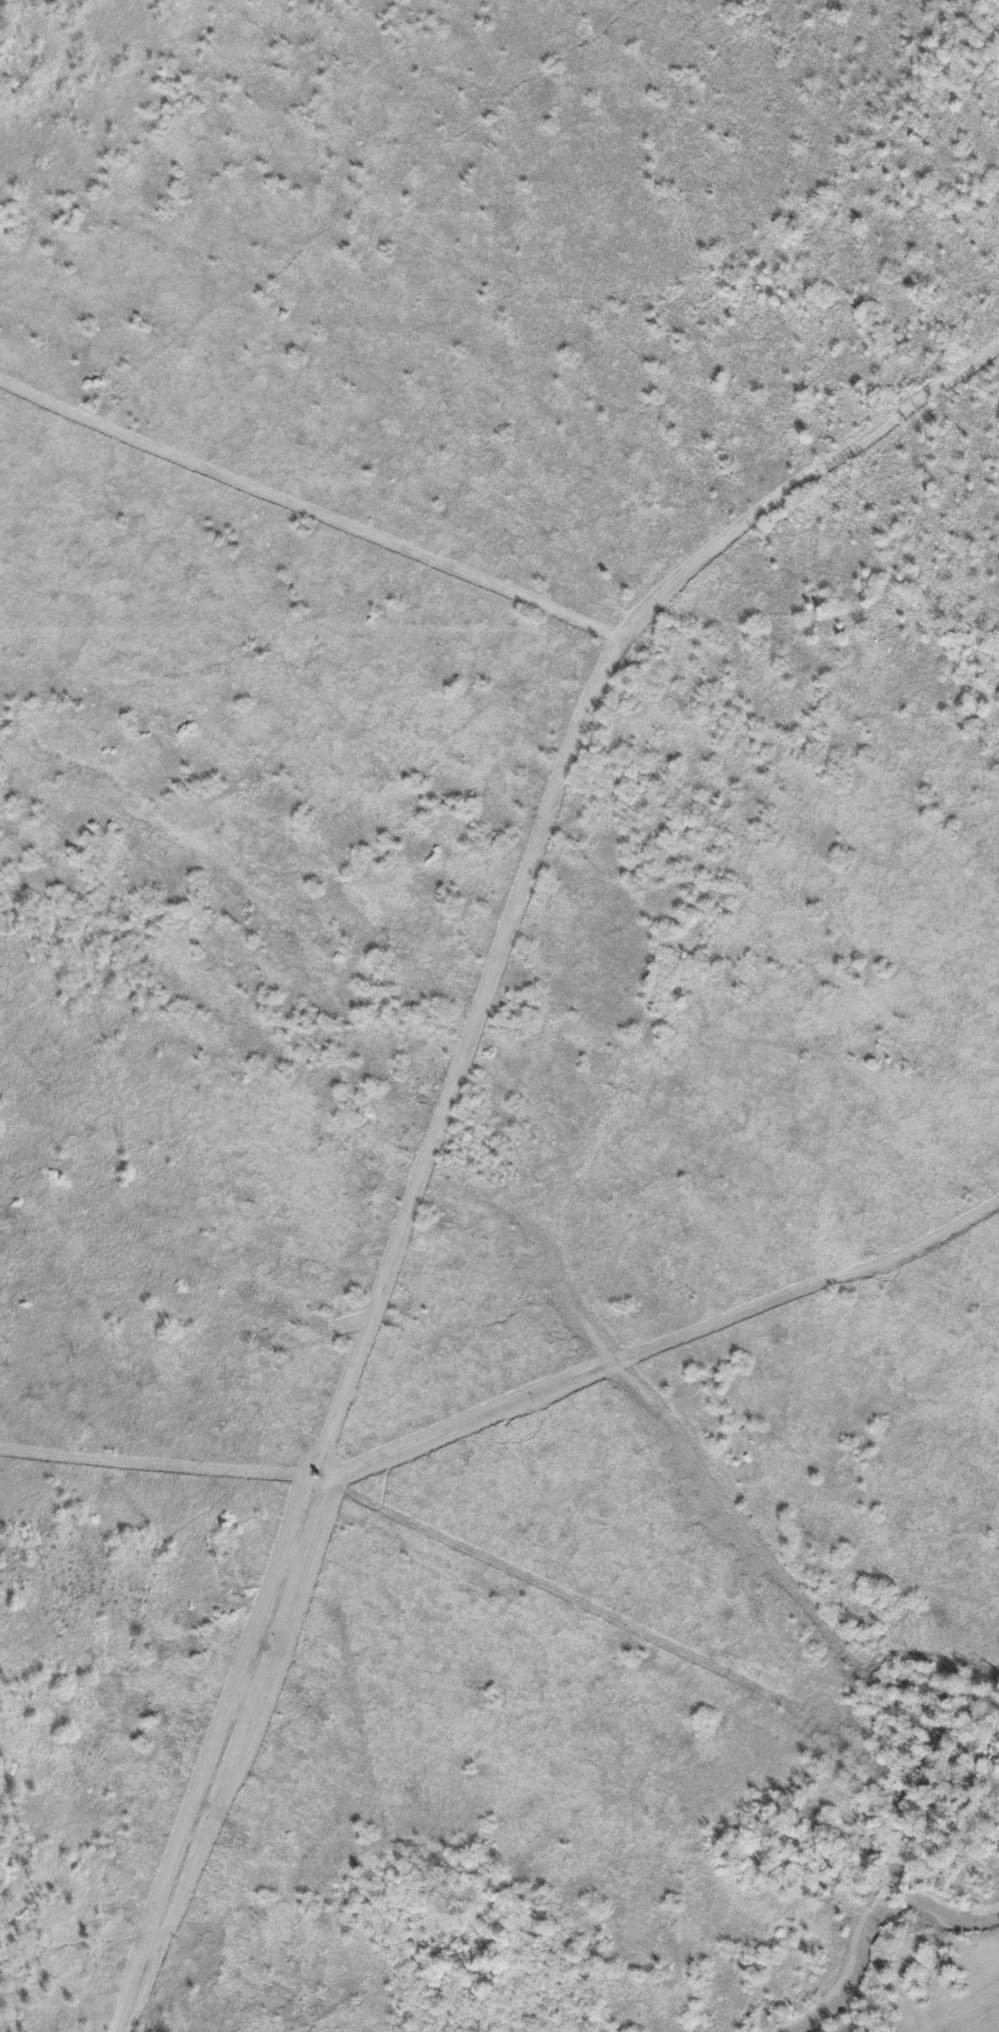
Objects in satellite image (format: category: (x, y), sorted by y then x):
road: (448, 1109)
road: (560, 1588)

